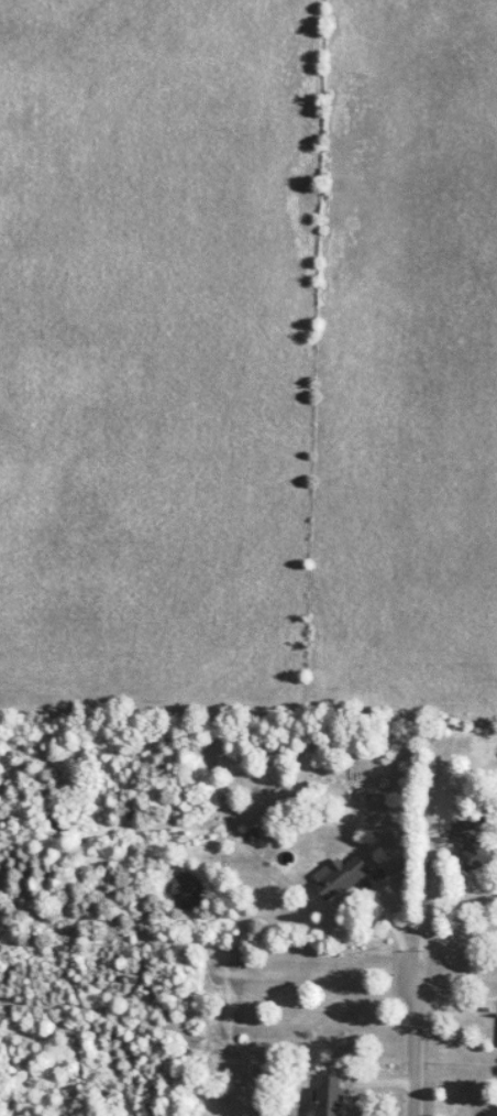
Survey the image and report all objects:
building: (340, 877)
road: (424, 901)
road: (394, 926)
road: (411, 1048)
building: (329, 1095)

